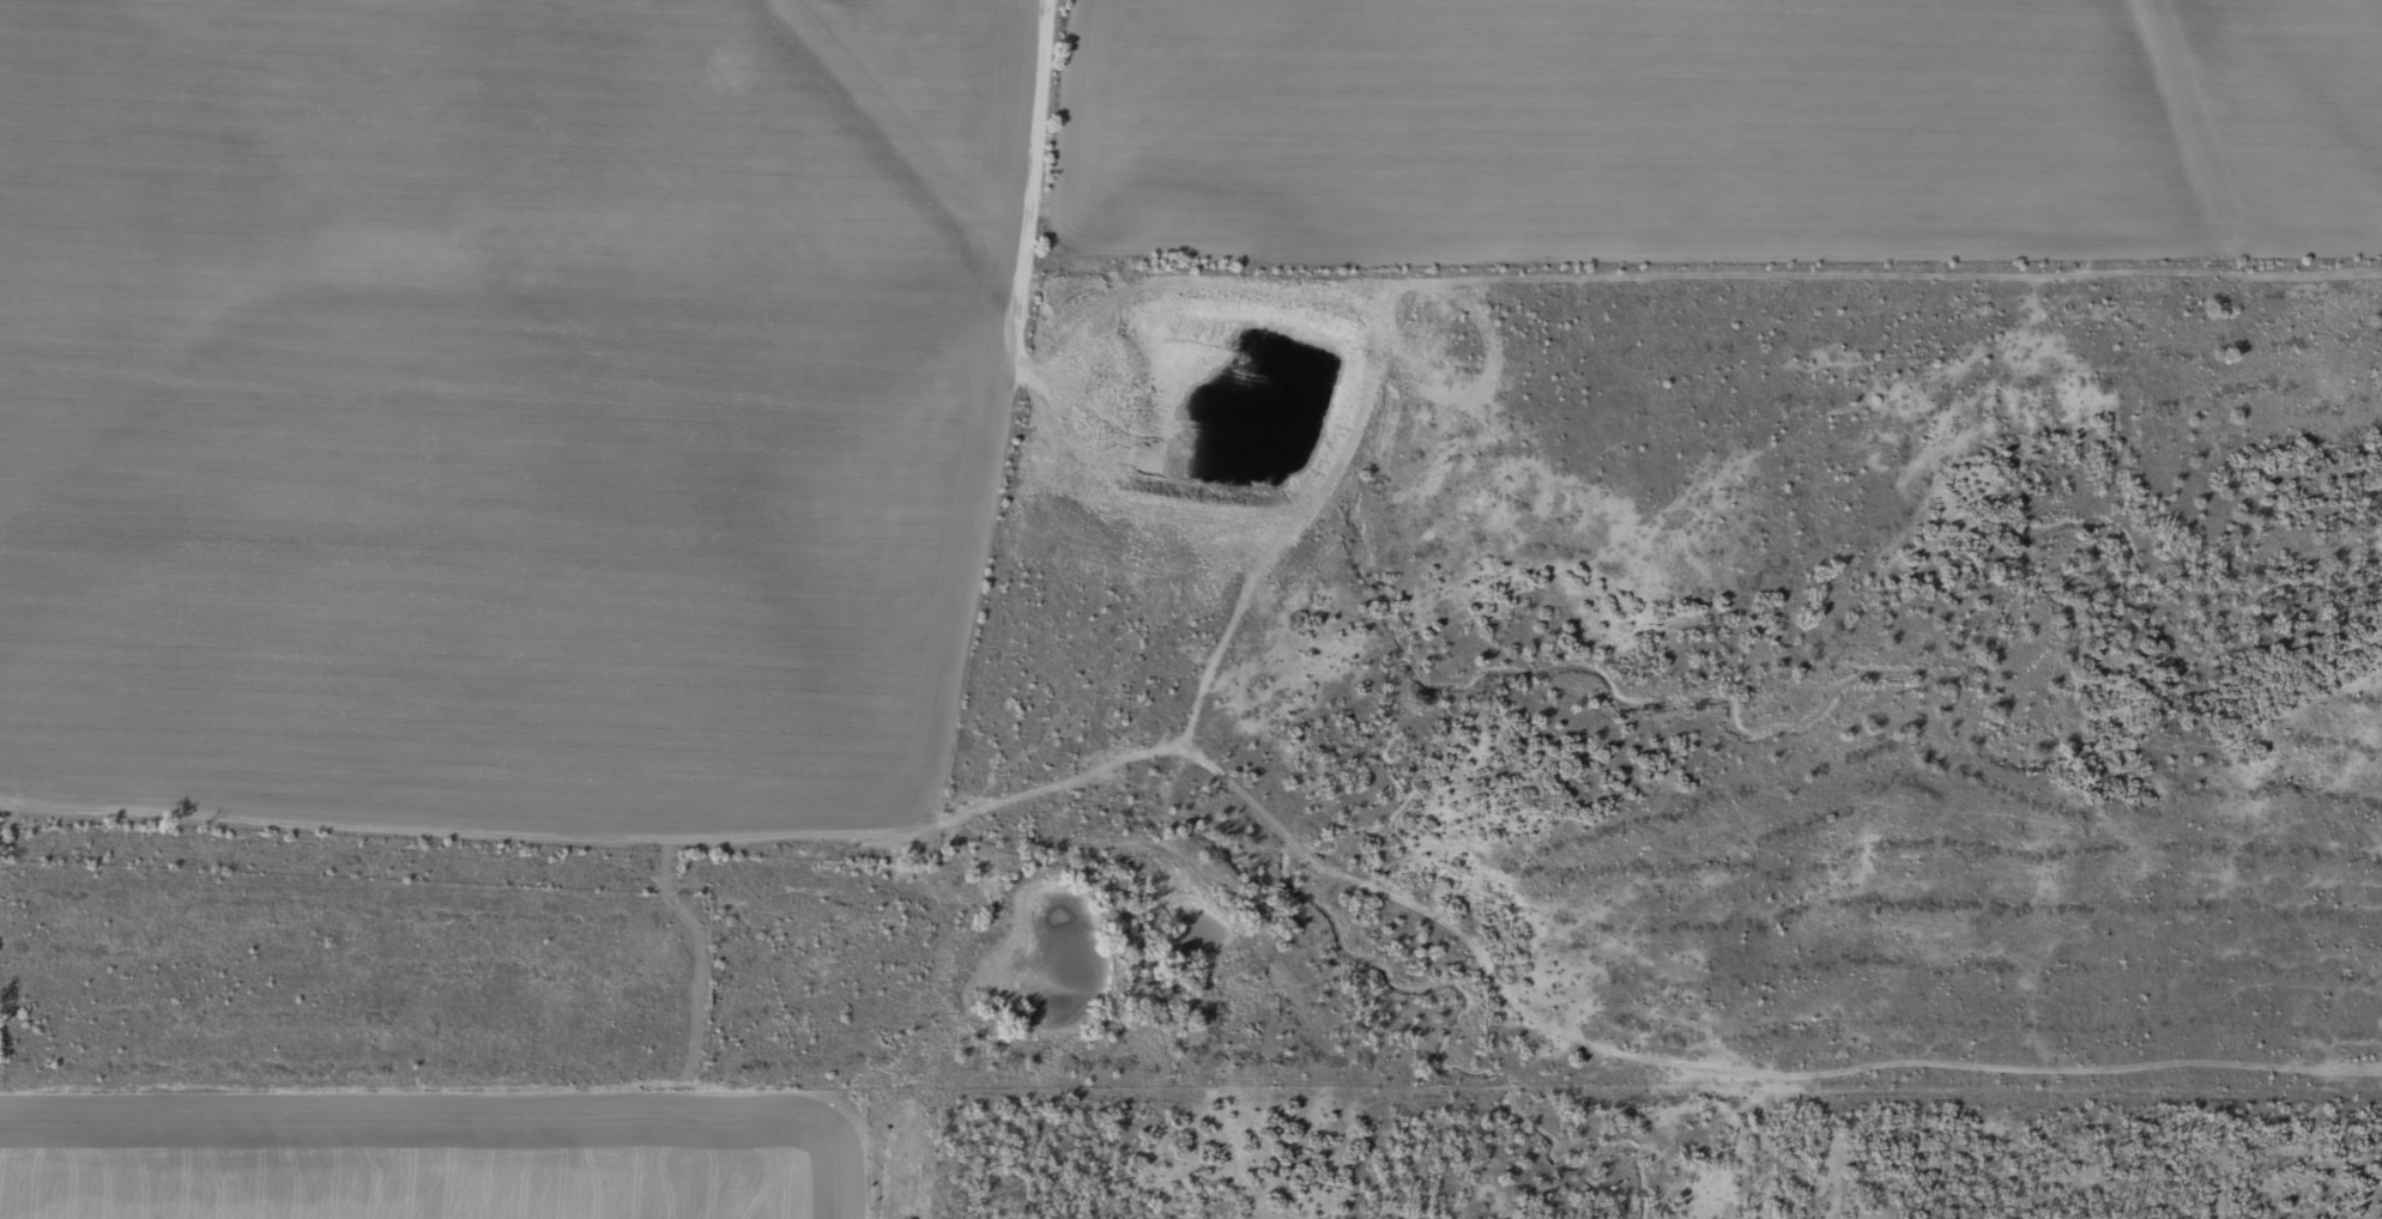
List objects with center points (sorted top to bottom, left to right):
road: (1014, 357)

